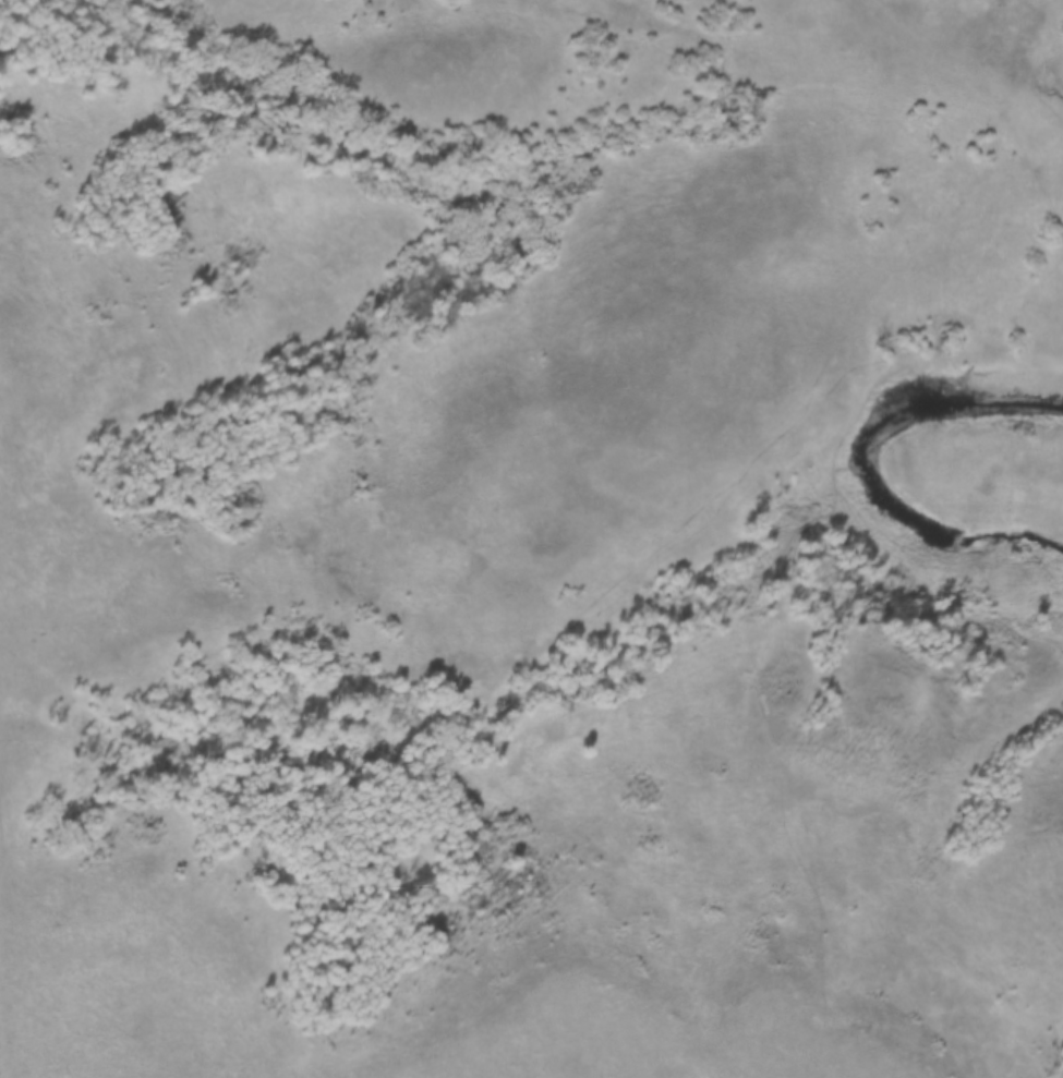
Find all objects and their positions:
road: (867, 8)

